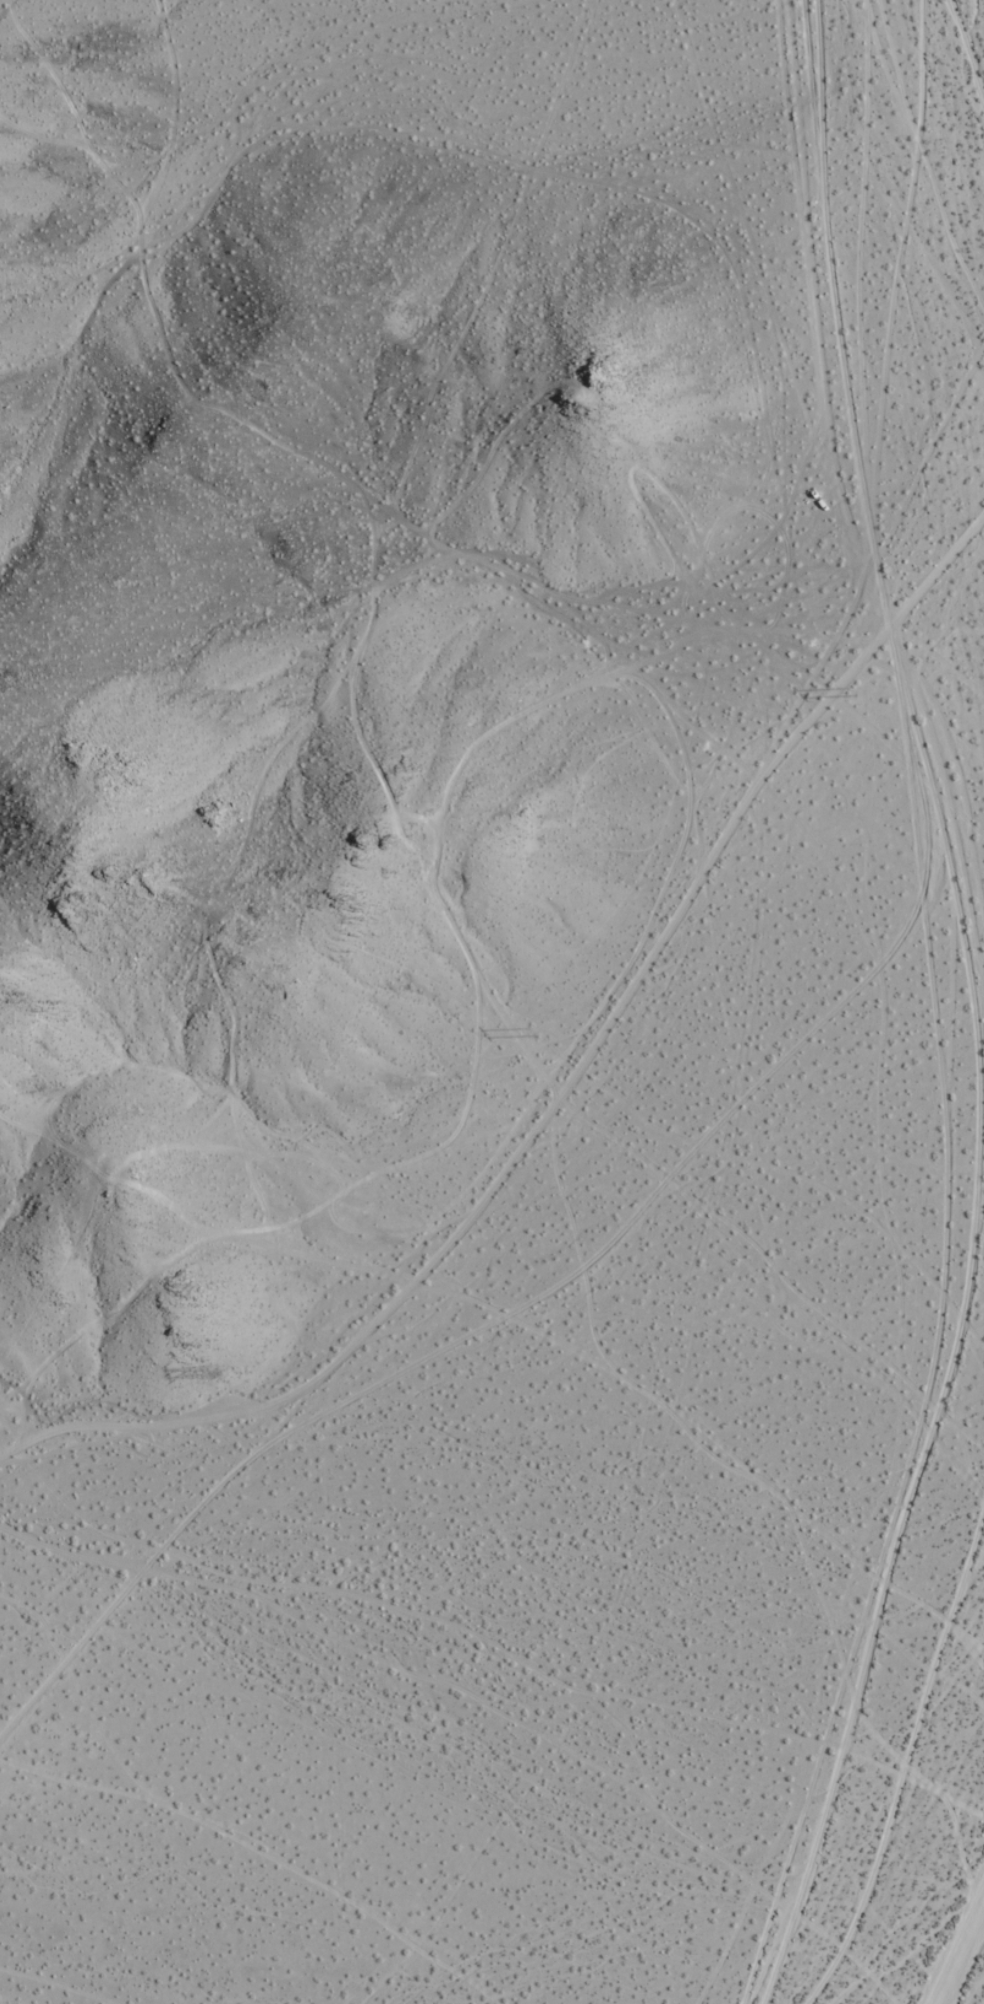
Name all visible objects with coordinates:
road: (813, 319)
road: (934, 571)
power tower: (860, 689)
road: (938, 819)
power tower: (542, 1032)
road: (519, 1151)
road: (501, 1319)
power tower: (218, 1371)
road: (955, 1945)

